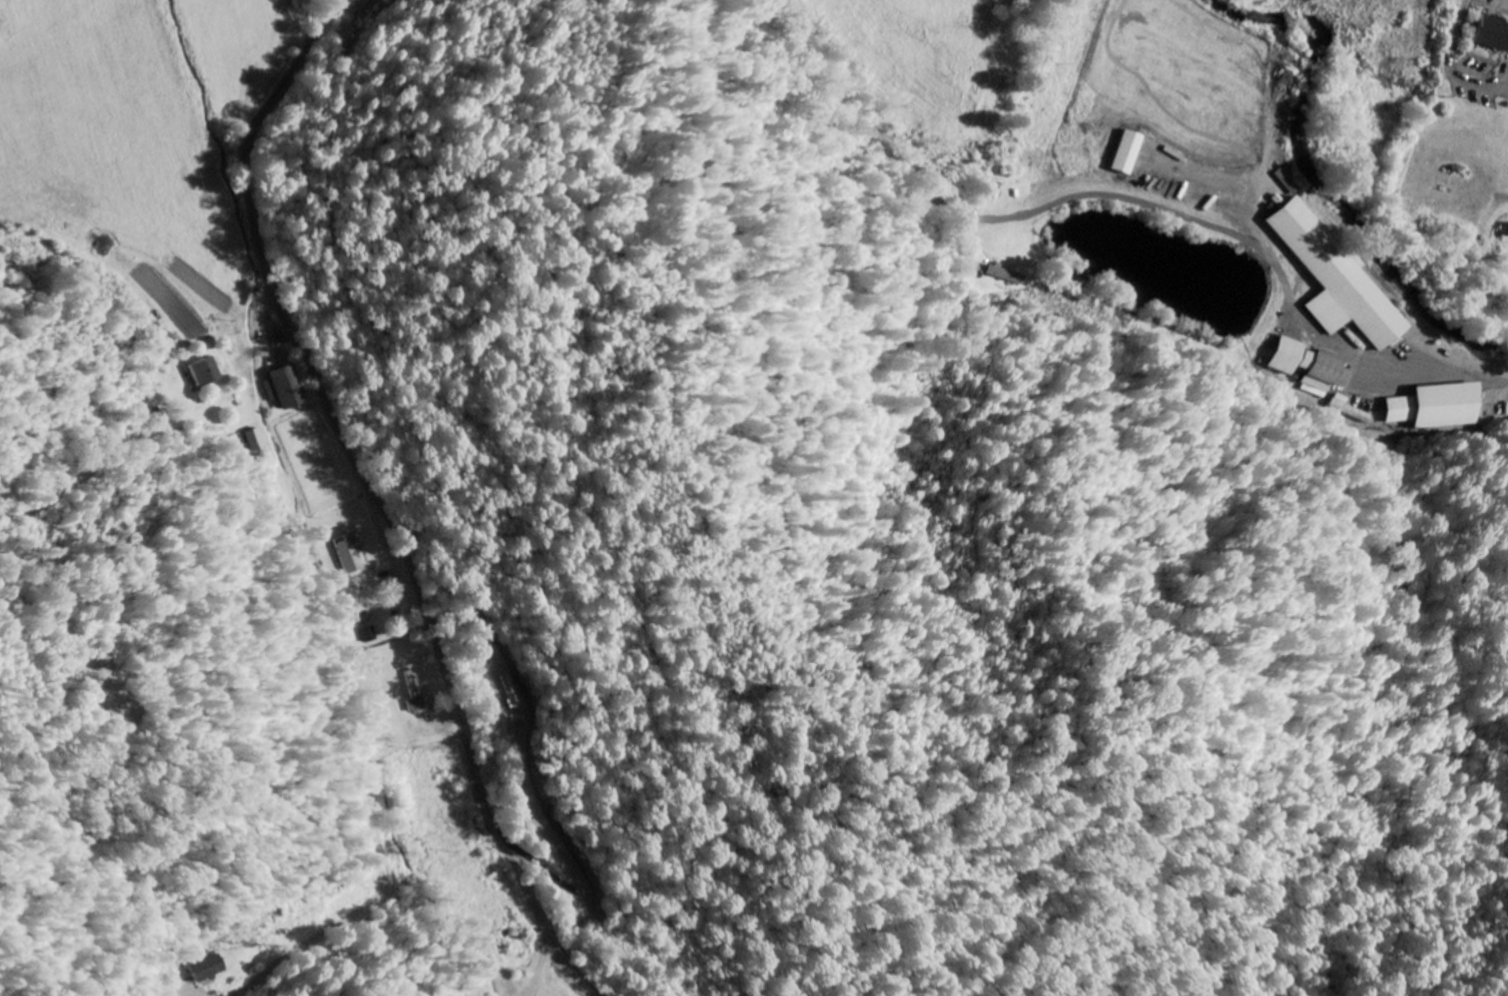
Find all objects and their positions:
building: (1491, 34)
building: (1130, 152)
river: (1328, 186)
building: (998, 195)
road: (1011, 218)
road: (974, 230)
building: (1006, 275)
building: (1337, 278)
road: (266, 324)
road: (1383, 362)
building: (1311, 366)
building: (206, 372)
building: (286, 388)
building: (1442, 406)
building: (1356, 409)
building: (256, 440)
road: (387, 499)
building: (349, 555)
building: (361, 619)
building: (370, 635)
road: (383, 855)
building: (206, 968)

